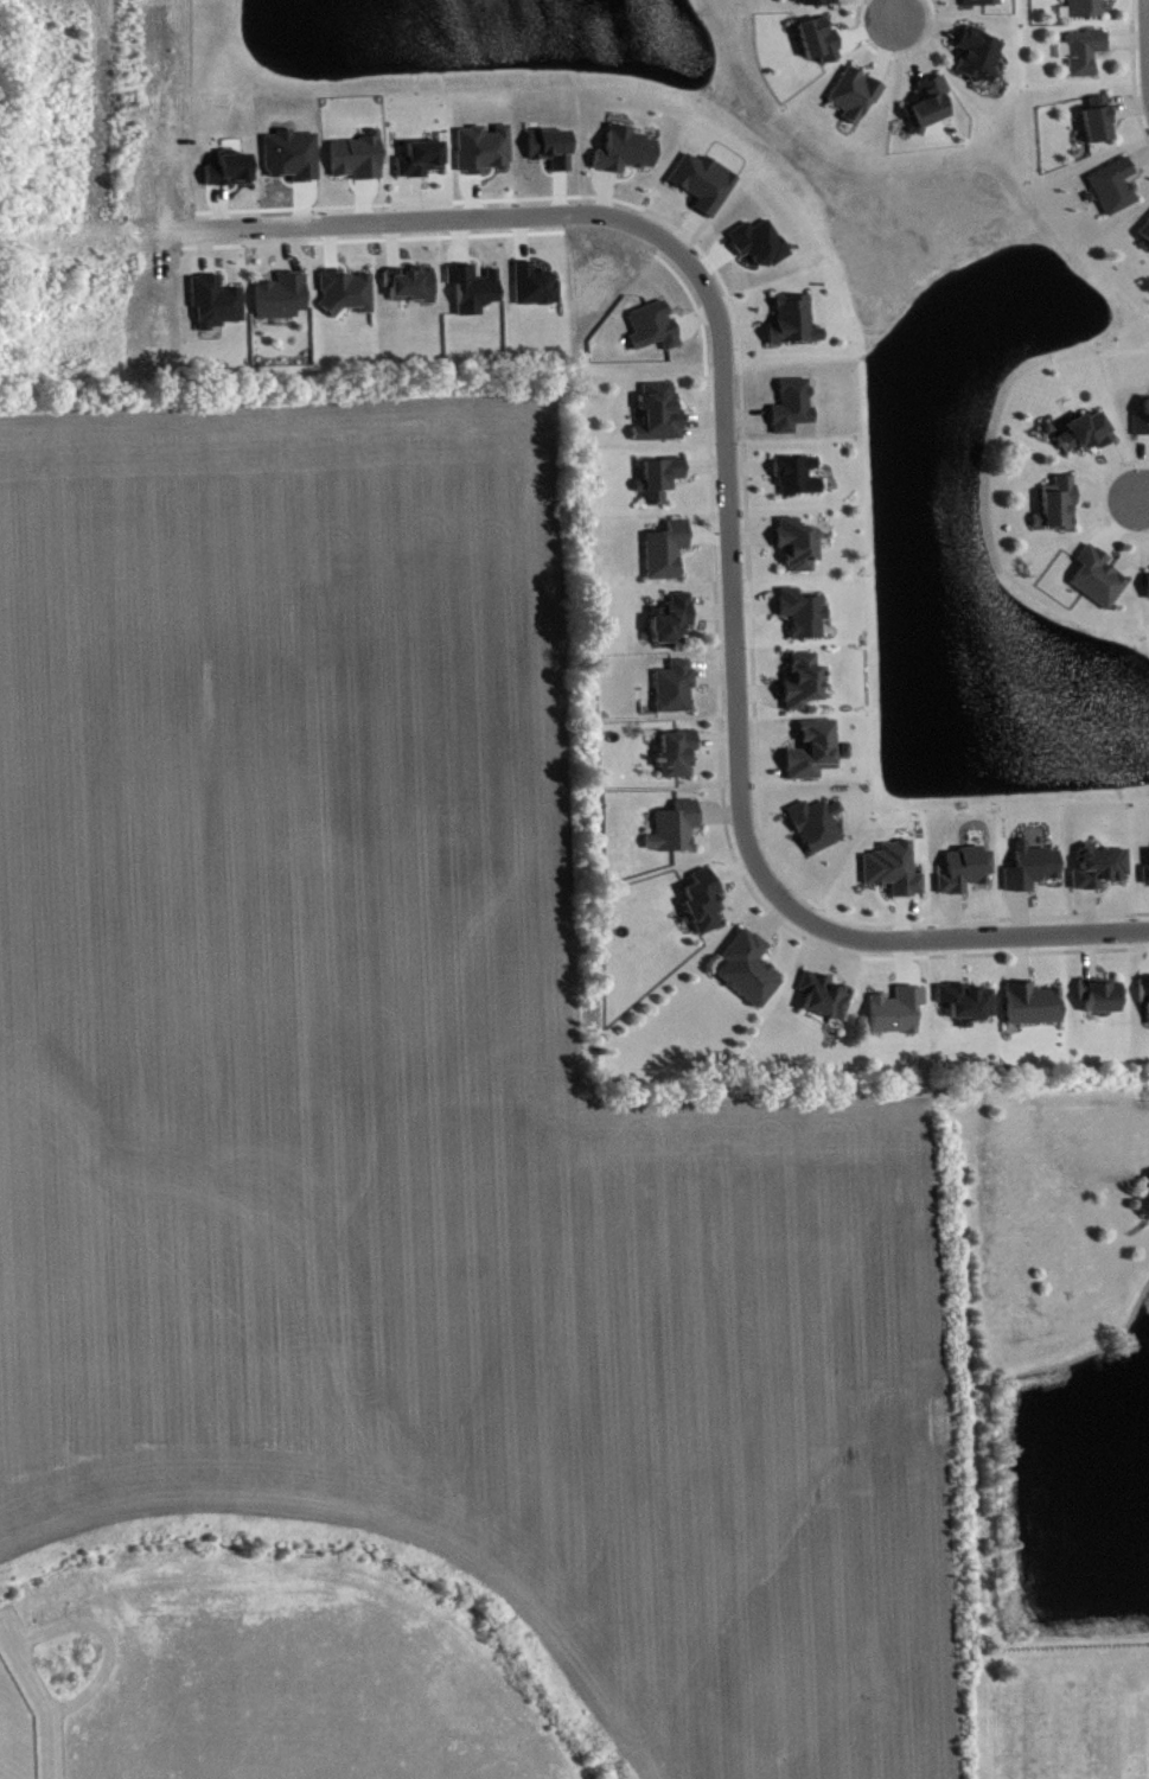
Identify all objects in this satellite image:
building: (821, 6)
building: (981, 6)
road: (894, 12)
building: (1085, 12)
road: (1148, 20)
building: (821, 47)
building: (1084, 59)
building: (981, 62)
road: (1132, 72)
building: (855, 102)
building: (928, 113)
building: (1099, 128)
building: (626, 158)
building: (359, 165)
building: (422, 167)
building: (706, 190)
building: (1116, 193)
building: (1144, 240)
building: (760, 251)
building: (413, 292)
building: (347, 299)
building: (283, 304)
building: (216, 310)
building: (794, 329)
building: (655, 334)
road: (719, 336)
building: (794, 414)
building: (660, 422)
building: (1142, 431)
building: (1087, 440)
building: (799, 484)
building: (660, 486)
road: (1140, 491)
building: (1059, 512)
building: (799, 553)
building: (666, 559)
building: (1099, 586)
building: (804, 620)
building: (672, 626)
building: (803, 689)
building: (675, 695)
building: (815, 758)
building: (678, 761)
building: (817, 831)
building: (676, 835)
building: (1099, 874)
building: (1033, 875)
building: (894, 876)
building: (966, 878)
building: (1147, 884)
building: (704, 910)
road: (977, 935)
building: (749, 977)
building: (1144, 997)
building: (823, 1003)
building: (1102, 1003)
building: (968, 1010)
building: (1034, 1013)
building: (898, 1019)
building: (1148, 1192)
building: (1144, 1214)

